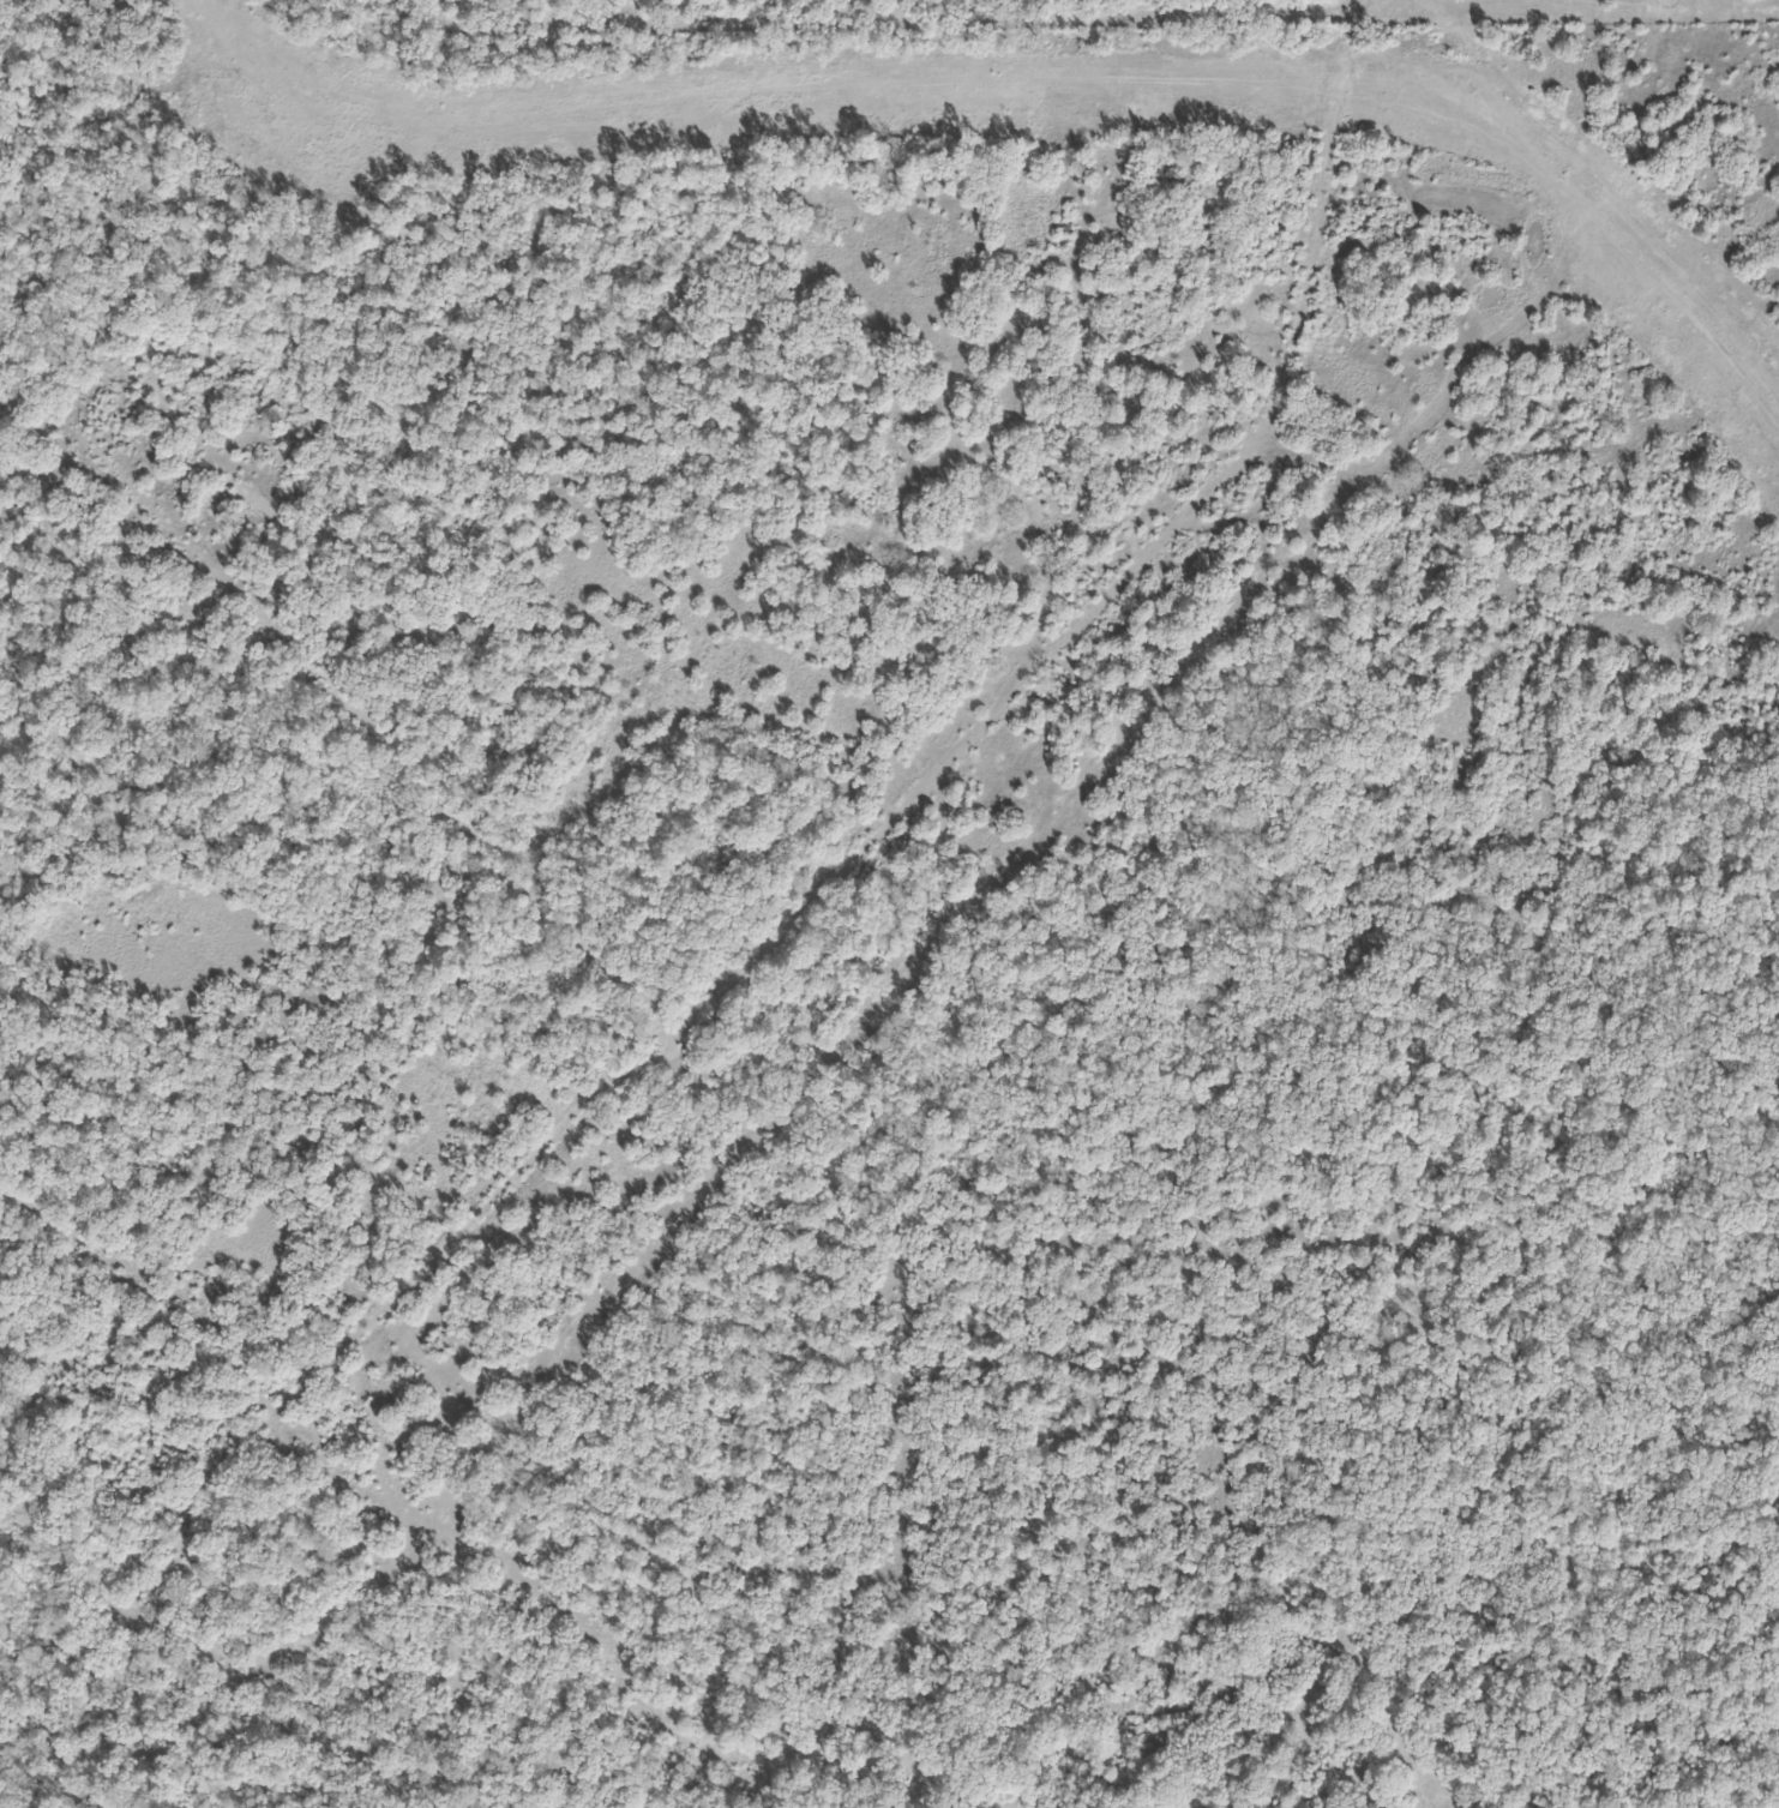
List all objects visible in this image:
road: (1137, 575)

